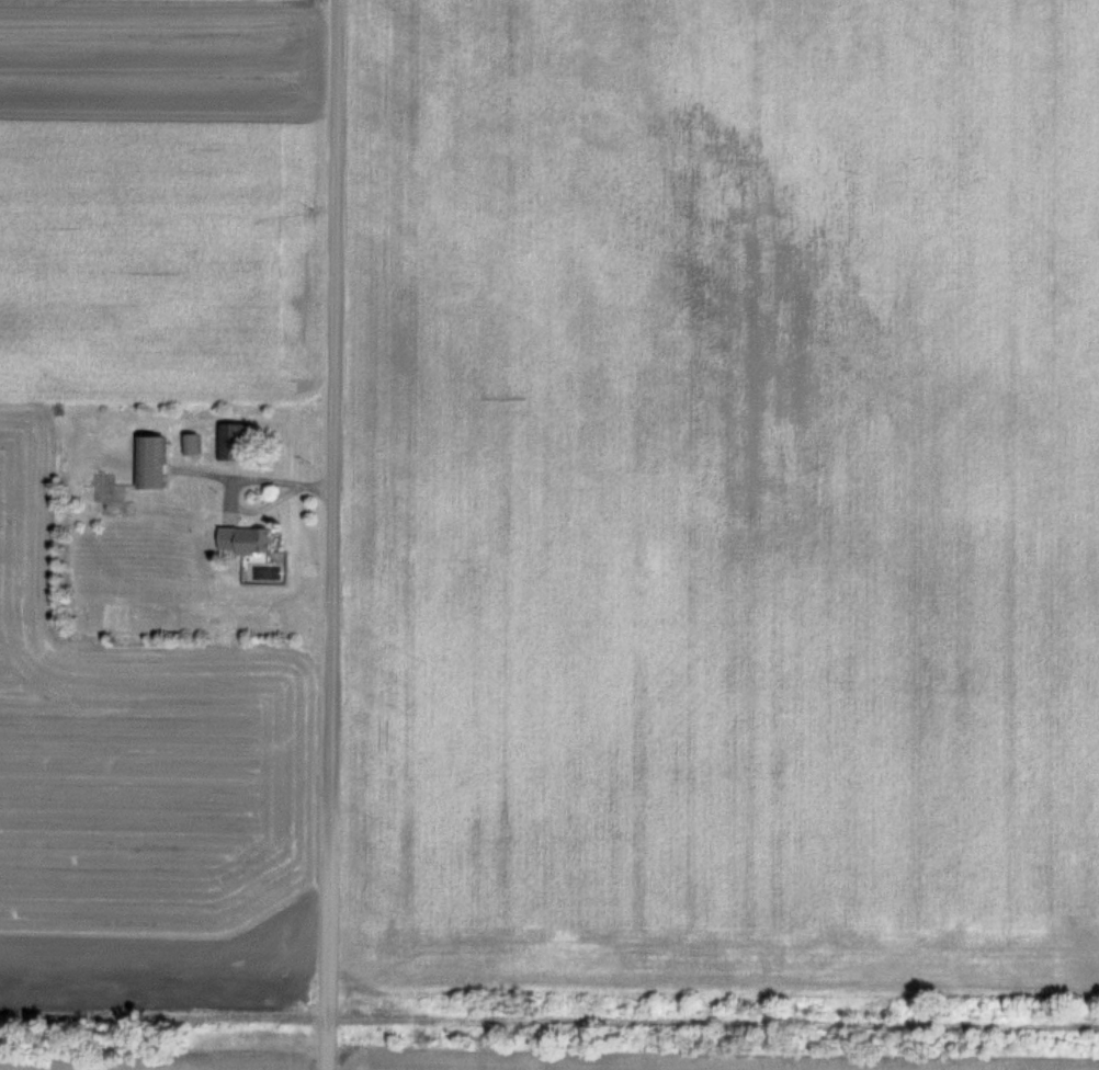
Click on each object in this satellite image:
building: (233, 441)
building: (193, 443)
building: (154, 460)
road: (259, 478)
road: (252, 508)
road: (329, 534)
building: (247, 539)
railway: (157, 1015)
railway: (720, 1022)

